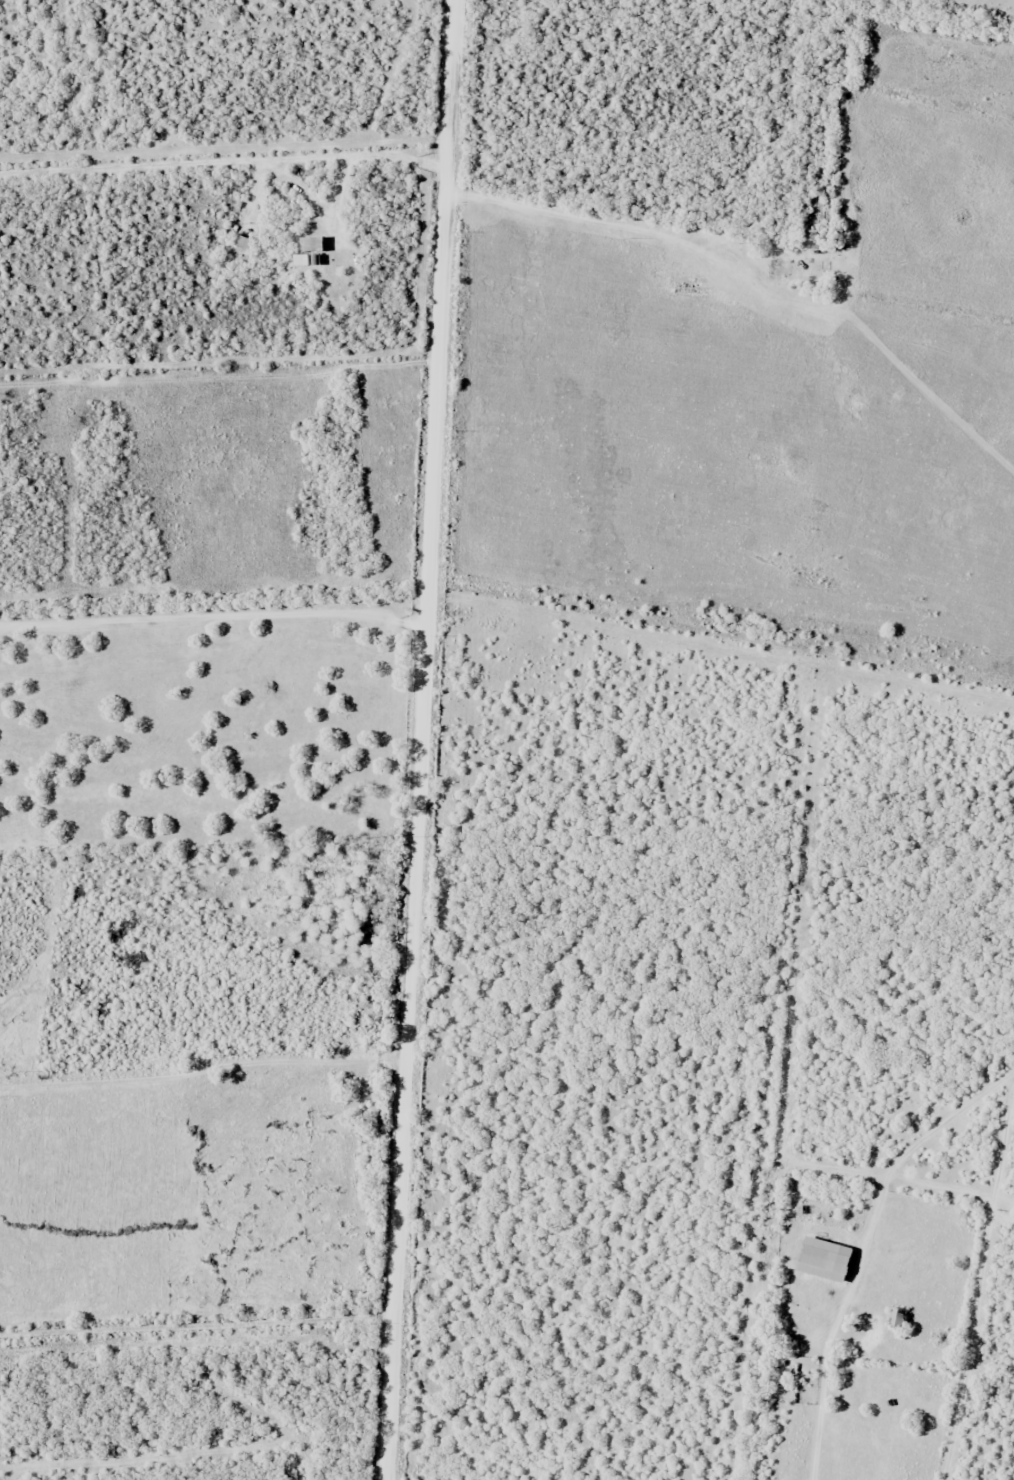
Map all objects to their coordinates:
road: (418, 740)
building: (829, 1258)

